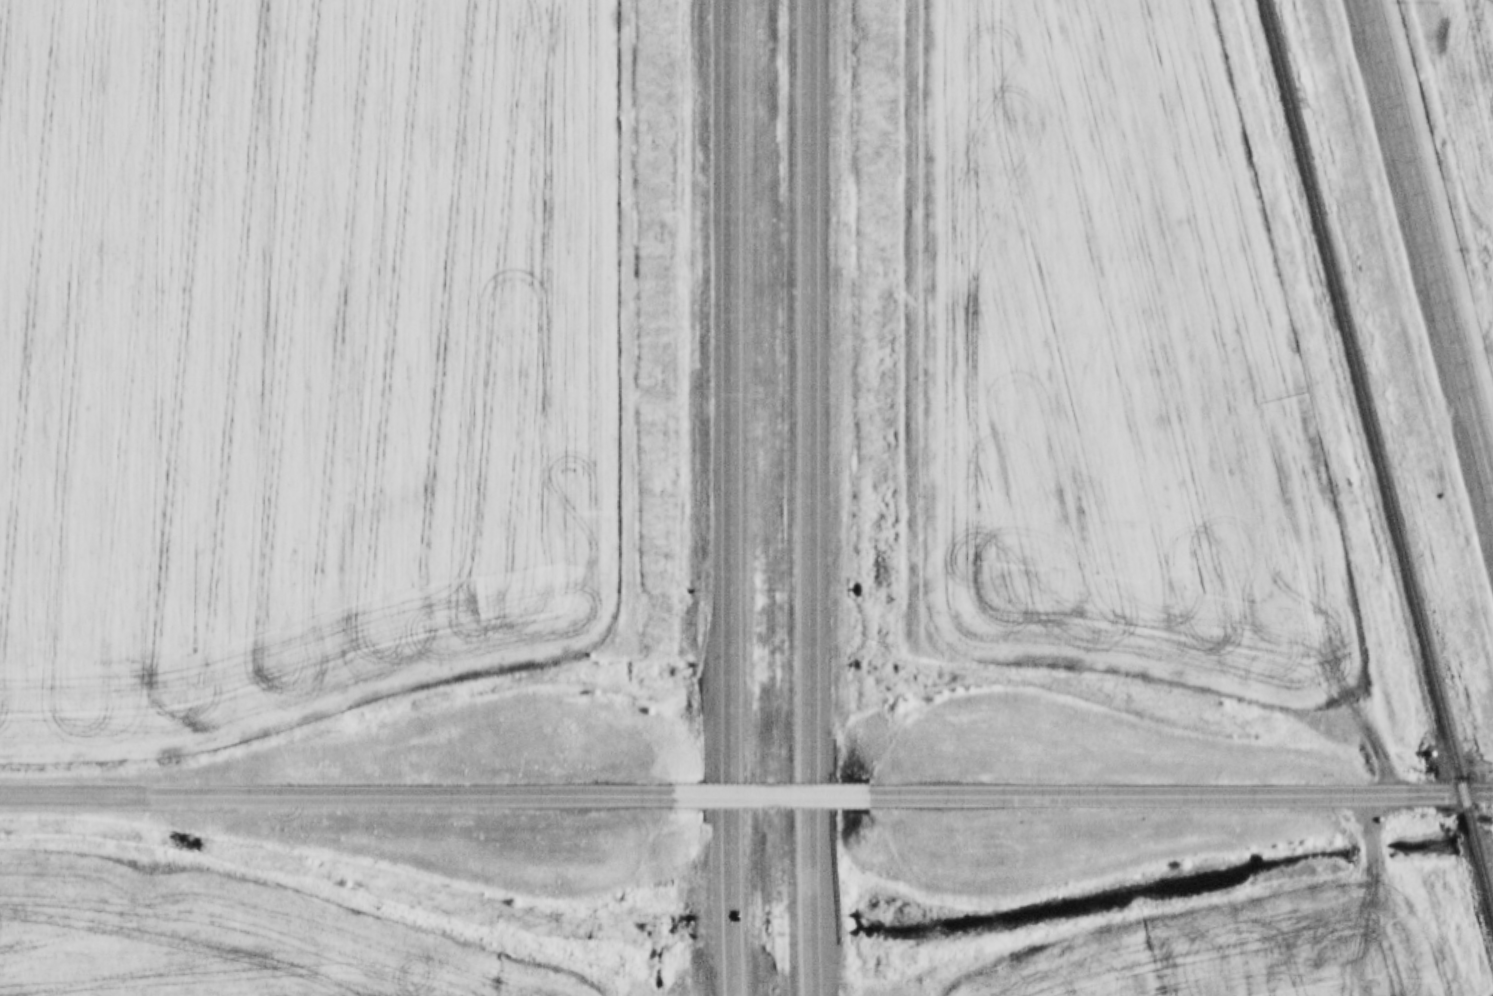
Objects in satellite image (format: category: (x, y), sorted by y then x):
road: (1430, 254)
railway: (1376, 463)
road: (732, 498)
road: (802, 498)
road: (82, 789)
road: (418, 792)
road: (1180, 792)
road: (769, 794)

